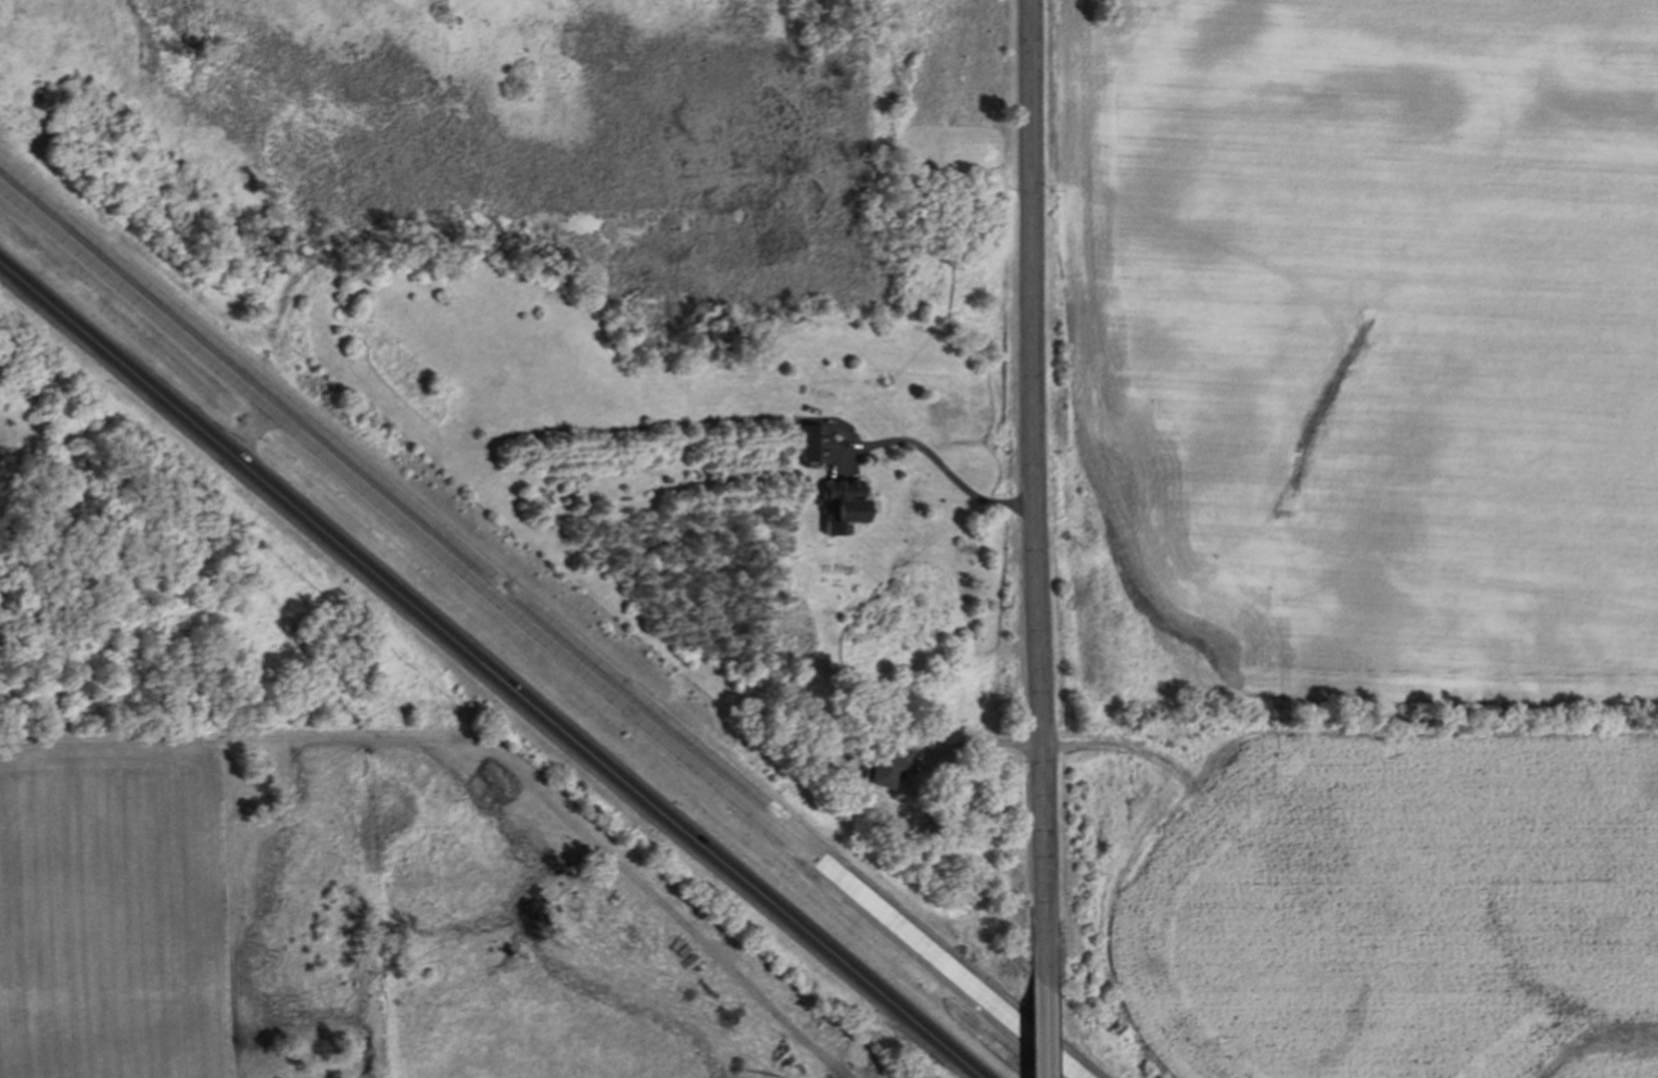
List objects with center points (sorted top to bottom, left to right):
road: (252, 428)
building: (810, 443)
road: (948, 465)
road: (1041, 497)
building: (845, 506)
road: (541, 626)
road: (490, 669)
road: (984, 740)
building: (888, 765)
road: (1042, 1037)

